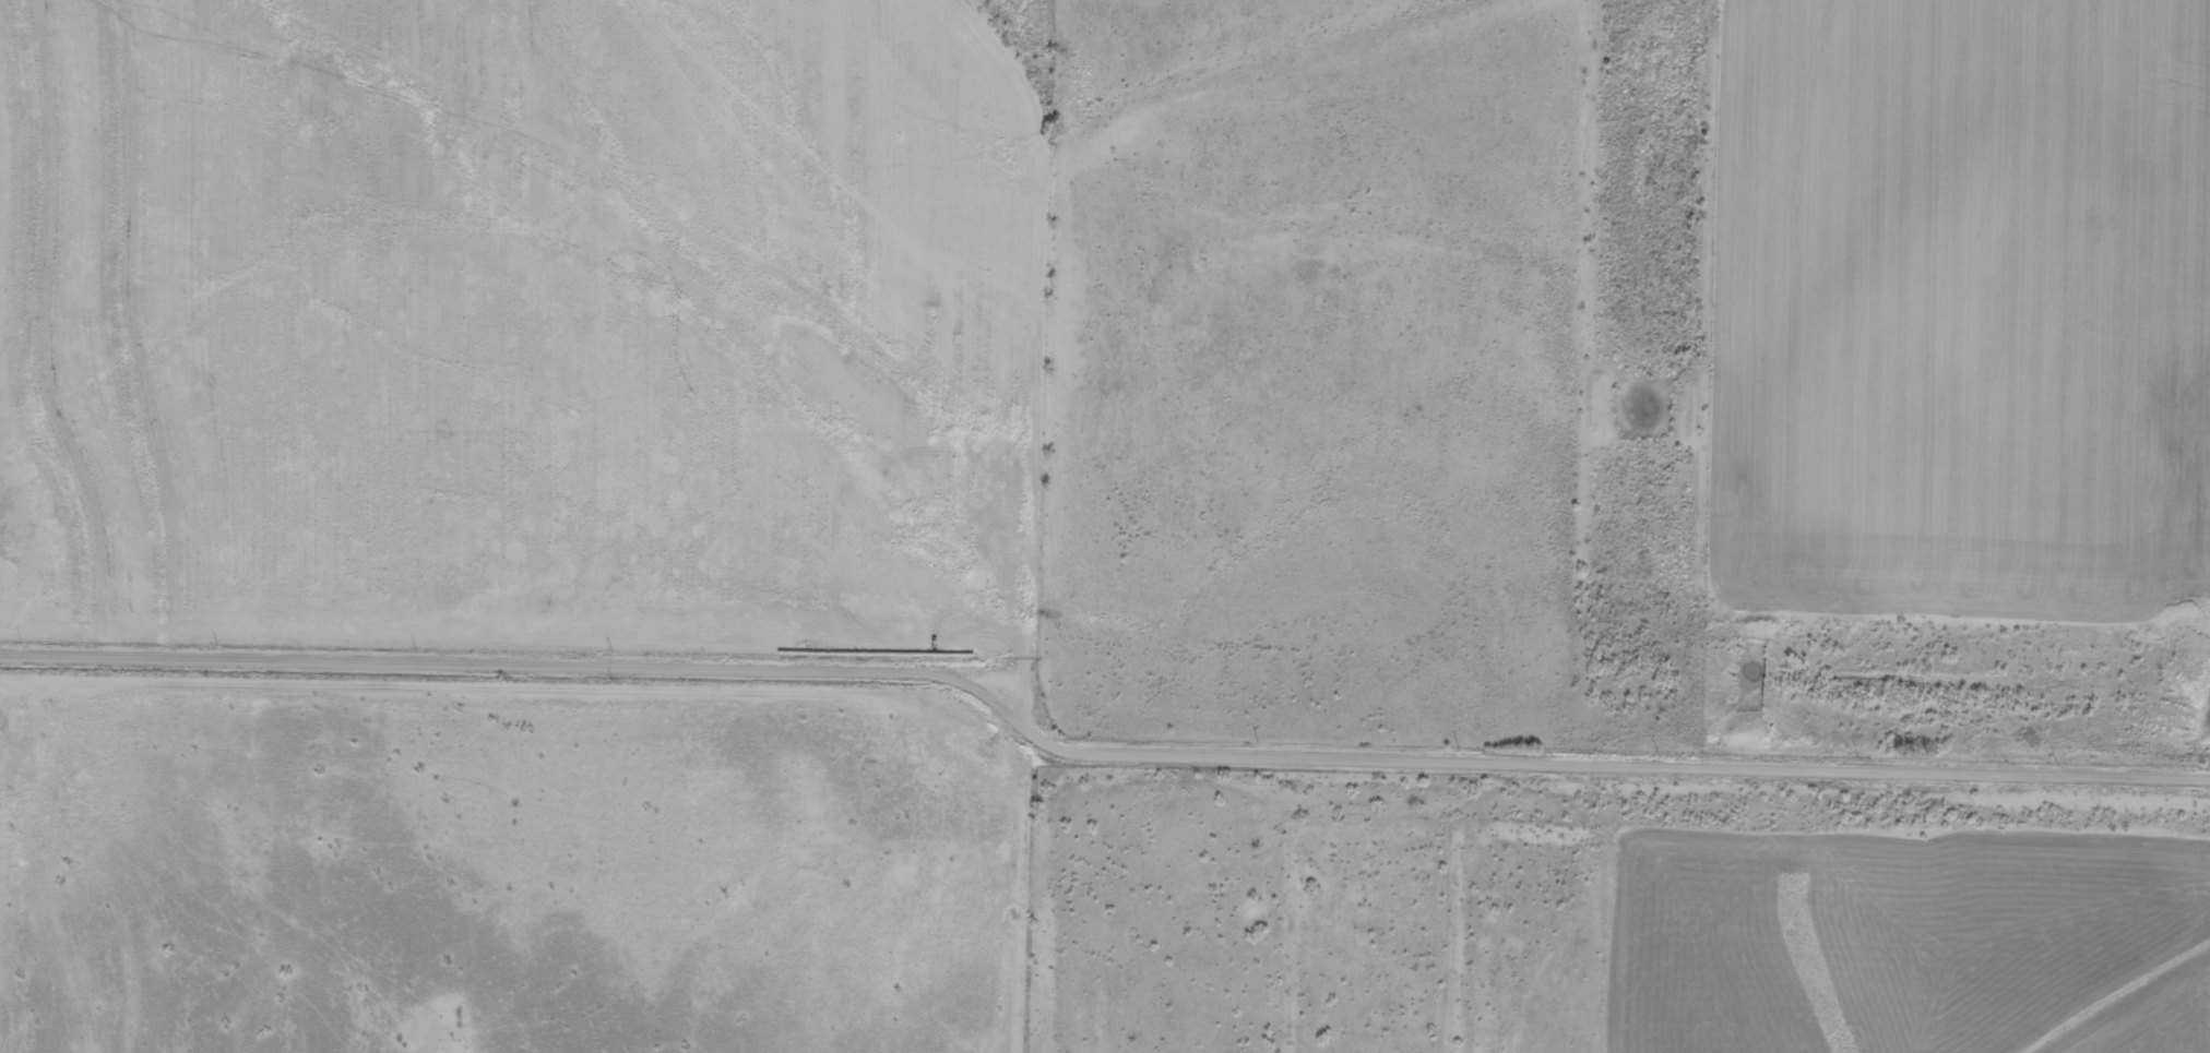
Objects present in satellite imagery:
road: (1094, 751)

